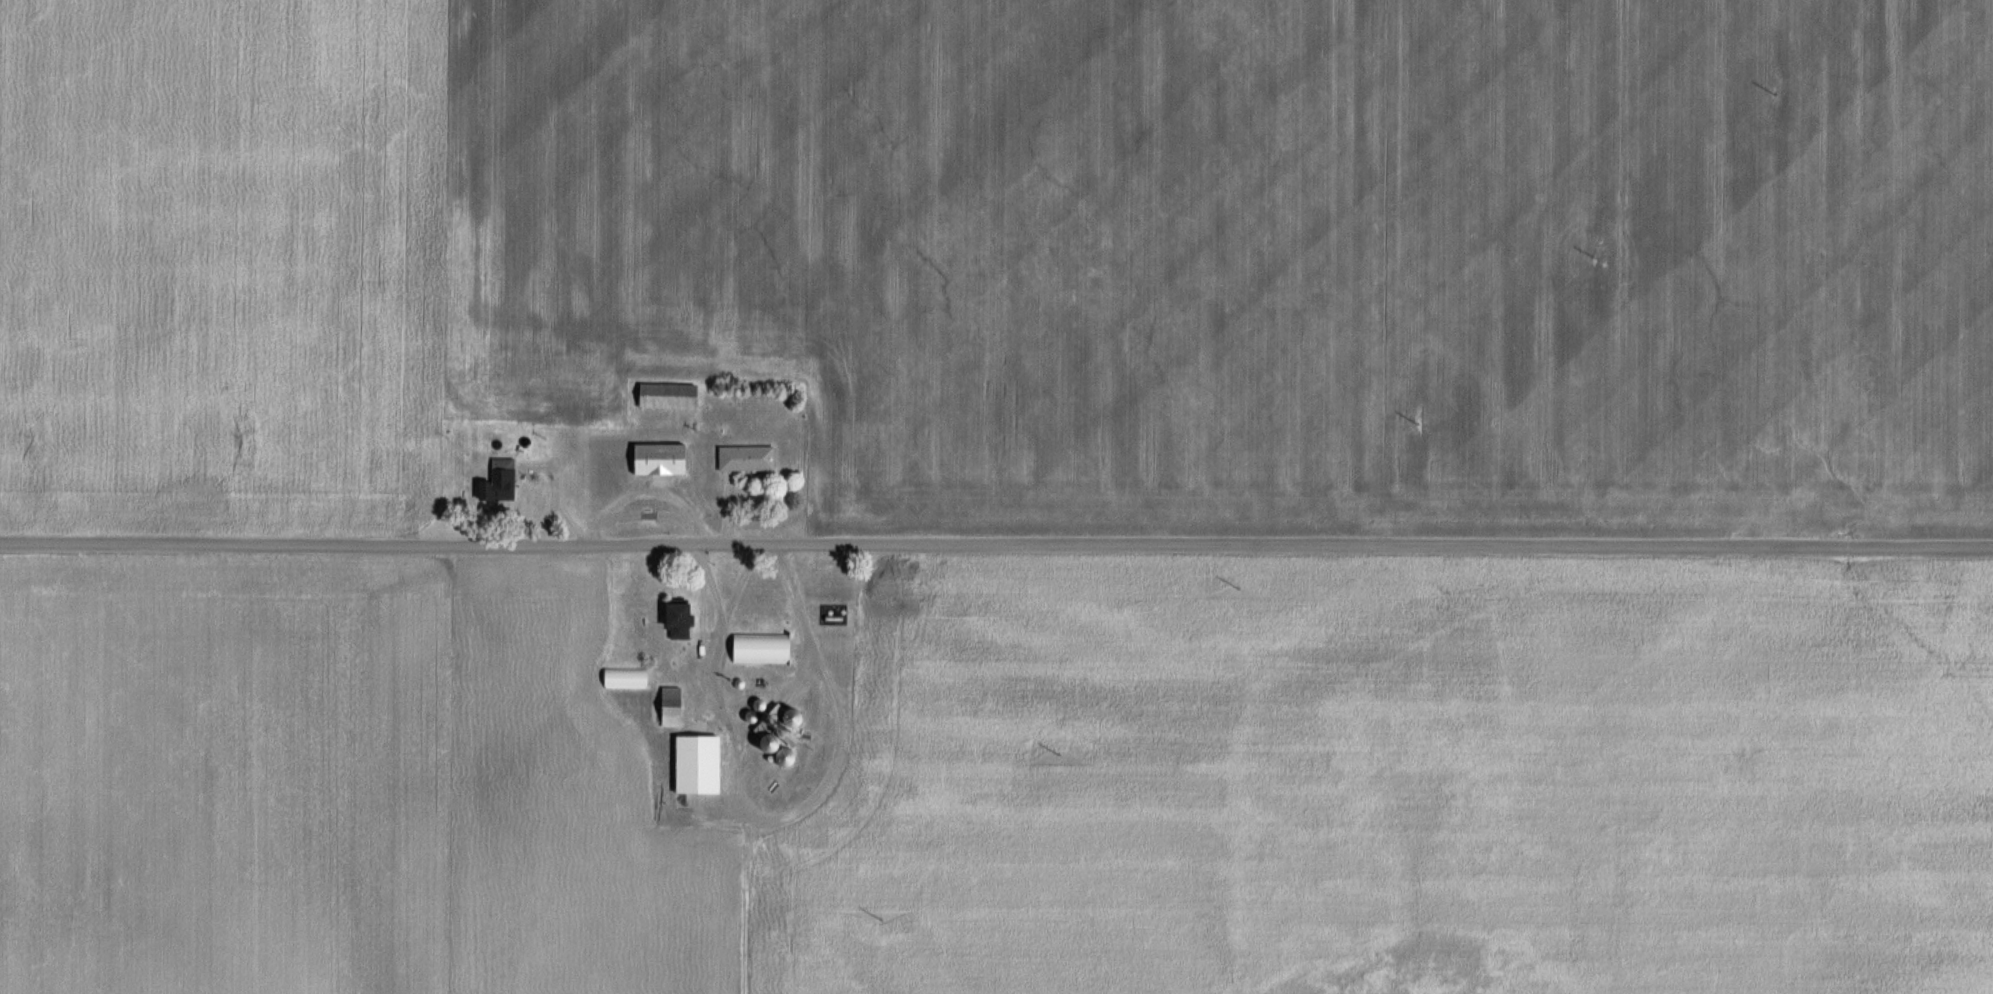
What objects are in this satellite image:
building: (663, 397)
building: (741, 457)
building: (655, 458)
building: (495, 481)
road: (648, 488)
road: (555, 498)
road: (568, 521)
road: (996, 543)
building: (670, 618)
building: (755, 648)
building: (622, 678)
building: (665, 706)
building: (775, 721)
building: (692, 764)
road: (774, 819)

